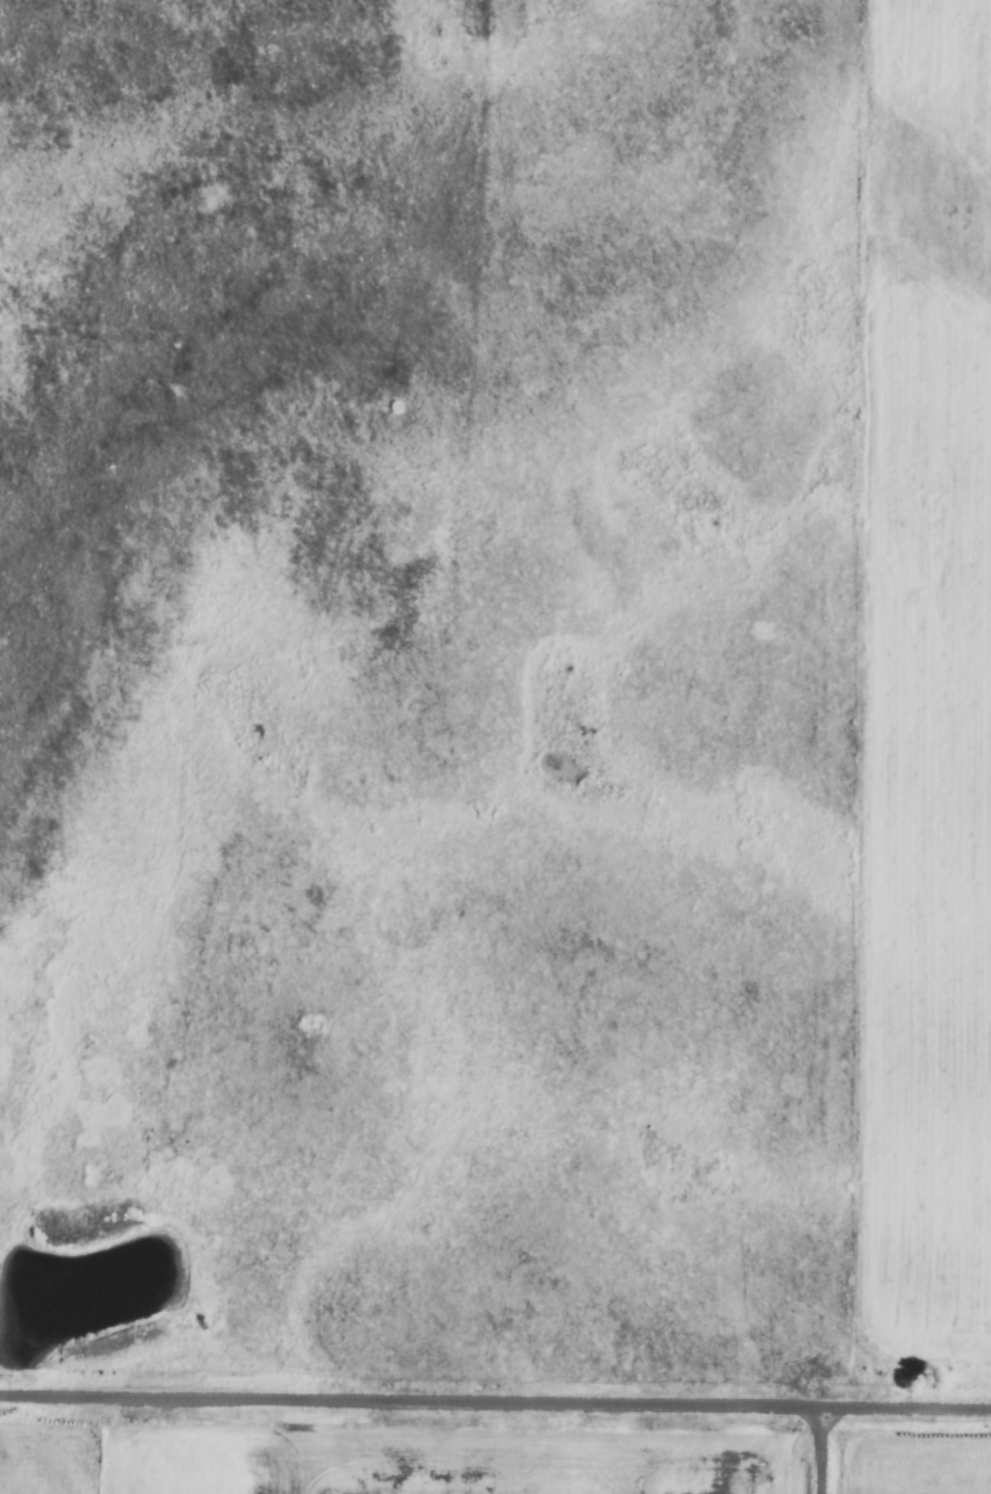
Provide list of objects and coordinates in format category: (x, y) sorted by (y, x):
road: (495, 1400)
road: (822, 1450)

